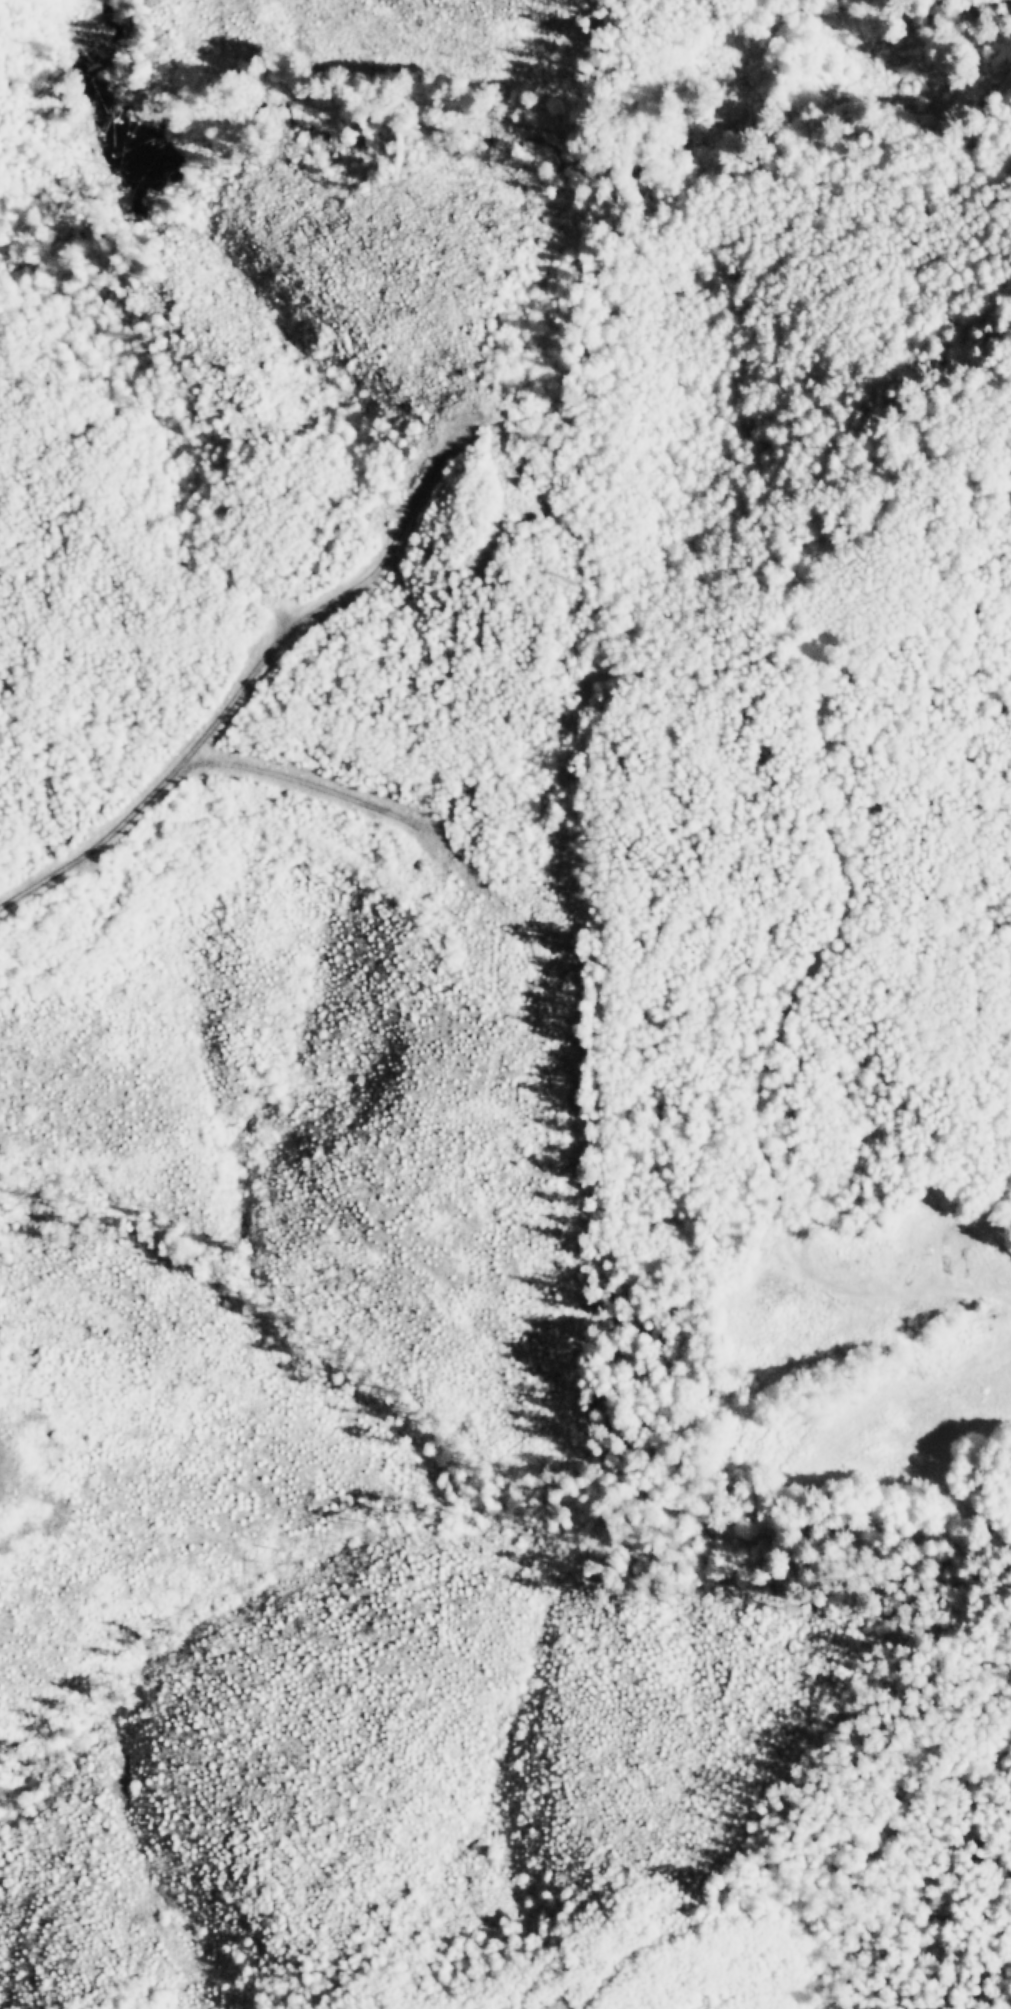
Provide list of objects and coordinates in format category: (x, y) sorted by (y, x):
road: (251, 671)
road: (317, 787)
road: (44, 1485)

